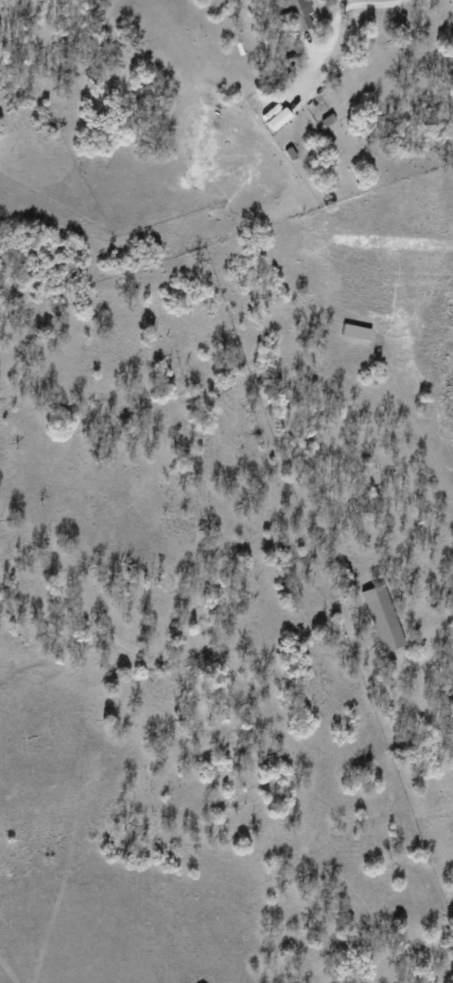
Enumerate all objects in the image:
road: (366, 4)
building: (297, 13)
building: (272, 116)
building: (381, 617)
building: (449, 714)

